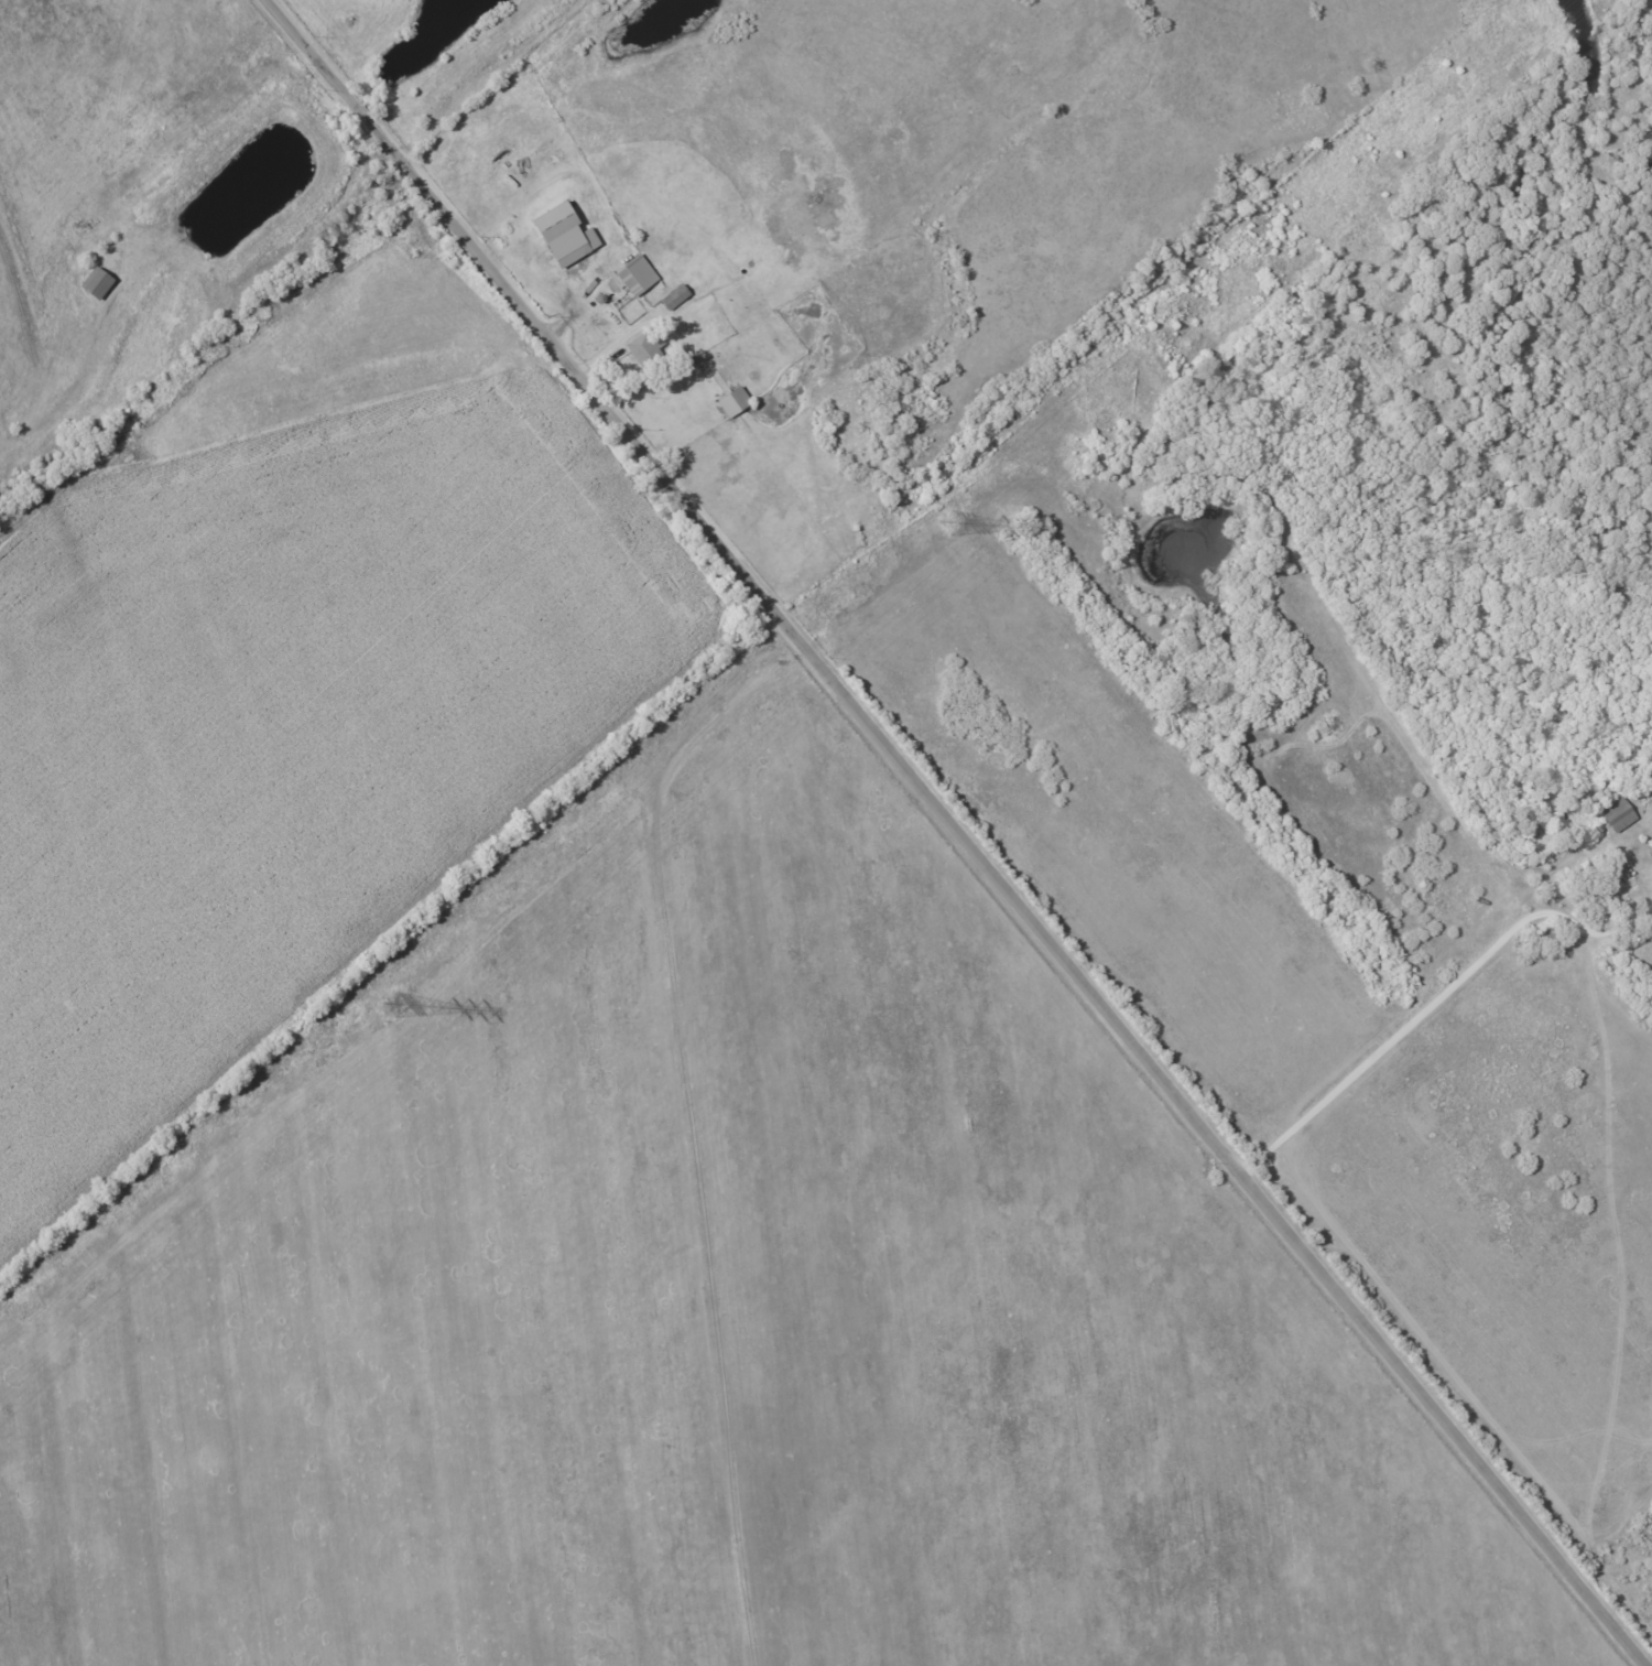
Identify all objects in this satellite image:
building: (564, 235)
building: (635, 274)
building: (96, 282)
building: (676, 299)
building: (645, 348)
building: (733, 401)
power tower: (955, 524)
building: (1618, 814)
road: (957, 831)
road: (1648, 904)
road: (1648, 910)
road: (1580, 930)
power tower: (405, 999)
road: (1380, 1045)

